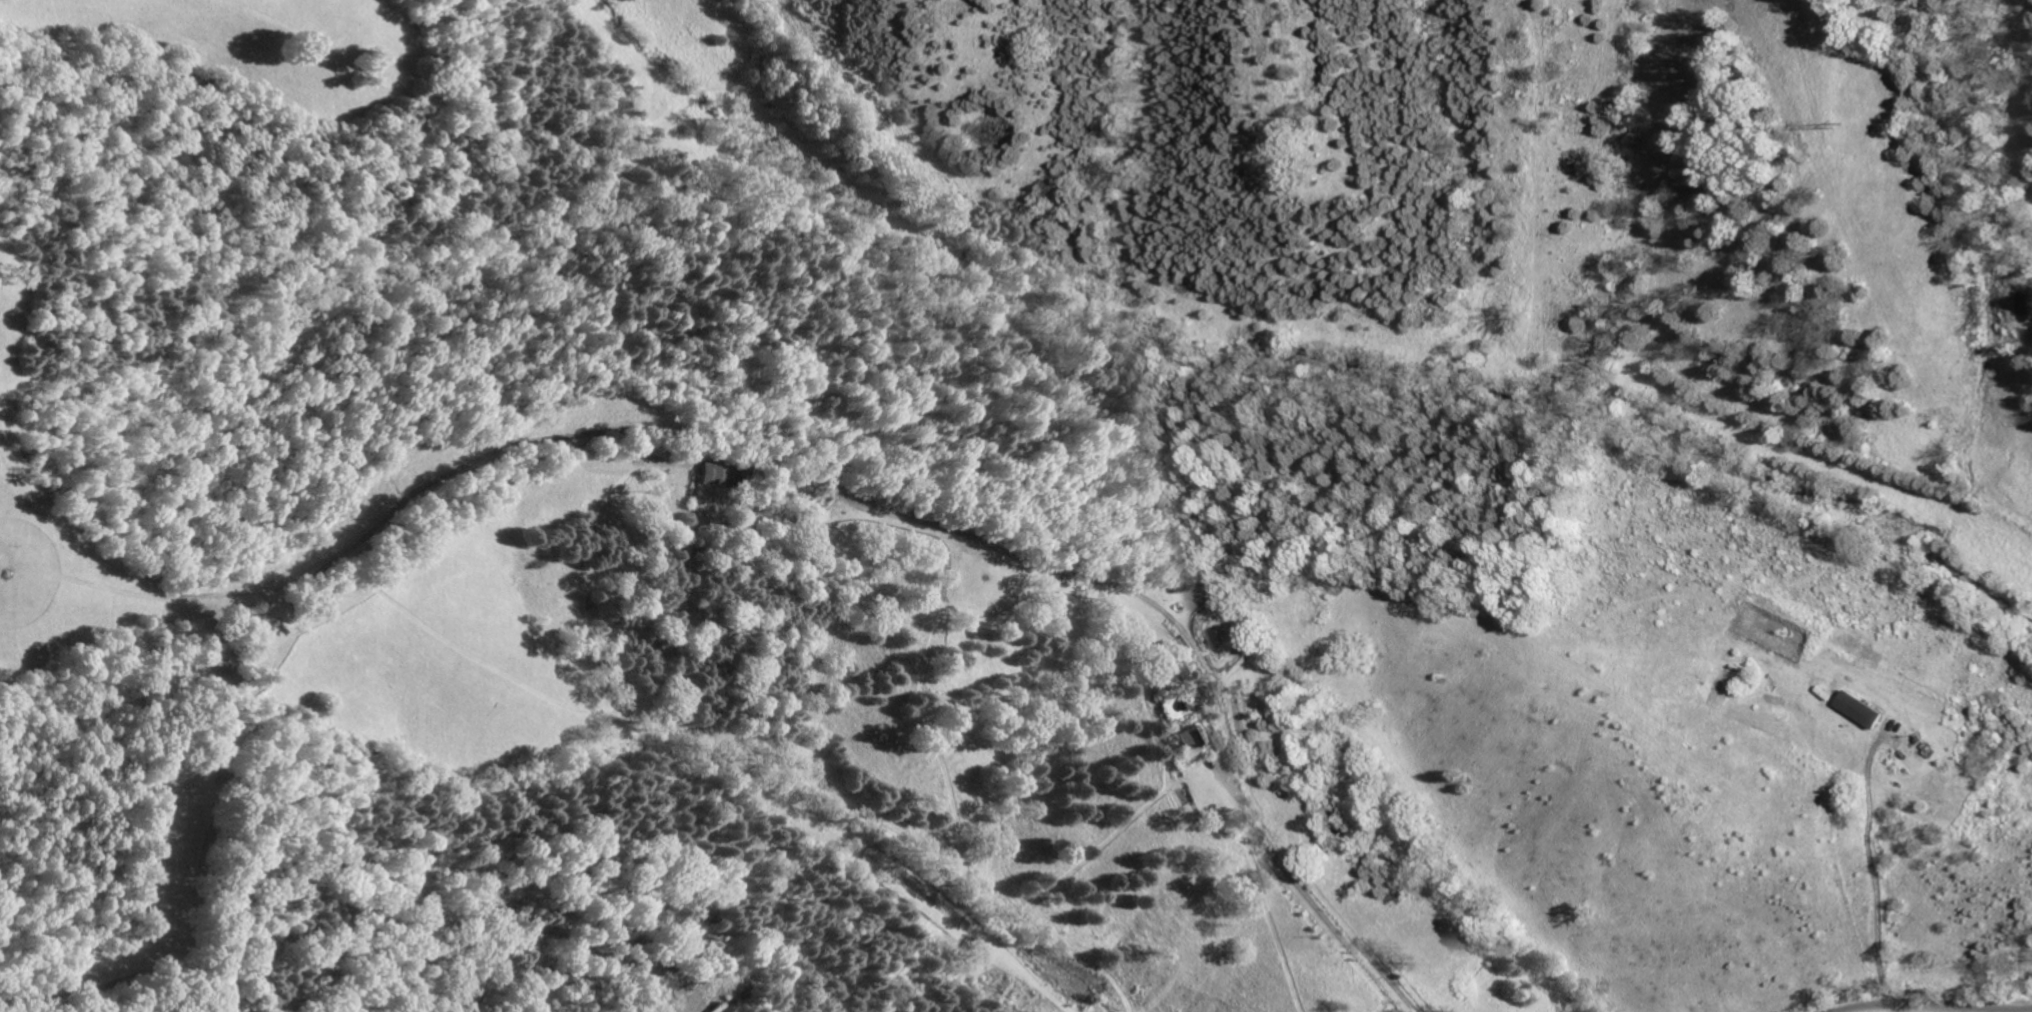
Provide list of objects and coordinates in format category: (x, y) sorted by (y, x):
building: (723, 473)
road: (1100, 581)
building: (1866, 709)
building: (1190, 740)
road: (1873, 871)
road: (1939, 1009)
building: (733, 1011)

